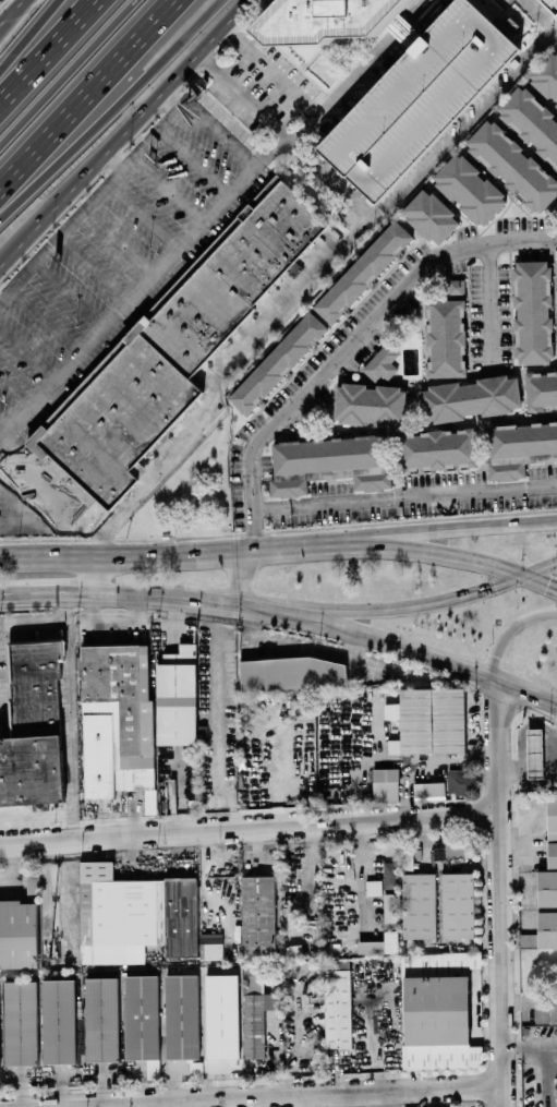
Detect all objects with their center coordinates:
road: (542, 13)
road: (13, 14)
building: (329, 20)
road: (545, 41)
road: (47, 50)
road: (271, 71)
road: (363, 72)
road: (68, 73)
building: (420, 97)
road: (93, 99)
road: (111, 101)
road: (122, 133)
road: (221, 134)
building: (510, 152)
road: (113, 161)
road: (195, 163)
road: (171, 189)
road: (97, 194)
road: (145, 216)
building: (431, 216)
road: (120, 243)
road: (95, 269)
building: (363, 272)
building: (456, 287)
road: (144, 288)
road: (302, 289)
road: (70, 296)
road: (491, 304)
building: (533, 312)
road: (374, 320)
road: (45, 323)
building: (446, 338)
road: (27, 353)
building: (165, 358)
building: (382, 362)
building: (278, 363)
road: (16, 389)
building: (542, 389)
building: (471, 398)
building: (373, 405)
road: (3, 428)
building: (520, 448)
building: (437, 449)
building: (329, 464)
road: (404, 495)
road: (254, 516)
road: (553, 520)
road: (470, 527)
road: (45, 530)
road: (359, 538)
road: (358, 545)
road: (189, 552)
road: (457, 557)
road: (26, 561)
road: (540, 569)
road: (98, 576)
traffic signals: (523, 576)
road: (241, 578)
road: (540, 581)
road: (52, 594)
road: (138, 595)
road: (4, 598)
road: (210, 602)
road: (441, 602)
road: (273, 611)
road: (331, 615)
road: (34, 624)
road: (330, 624)
road: (512, 630)
road: (457, 663)
building: (289, 673)
building: (123, 697)
building: (178, 697)
road: (70, 717)
building: (433, 721)
building: (33, 725)
building: (535, 754)
gas station: (535, 754)
road: (531, 767)
building: (462, 782)
building: (386, 785)
building: (429, 790)
road: (249, 830)
building: (456, 847)
building: (390, 875)
building: (33, 881)
building: (548, 883)
building: (374, 887)
road: (498, 891)
building: (457, 904)
building: (419, 905)
building: (391, 907)
building: (258, 914)
building: (134, 915)
building: (17, 934)
building: (379, 943)
building: (211, 946)
building: (338, 1003)
building: (255, 1010)
building: (437, 1010)
building: (181, 1016)
building: (220, 1016)
building: (100, 1019)
building: (60, 1021)
building: (142, 1021)
building: (23, 1023)
building: (0, 1054)
road: (544, 1058)
road: (291, 1097)

